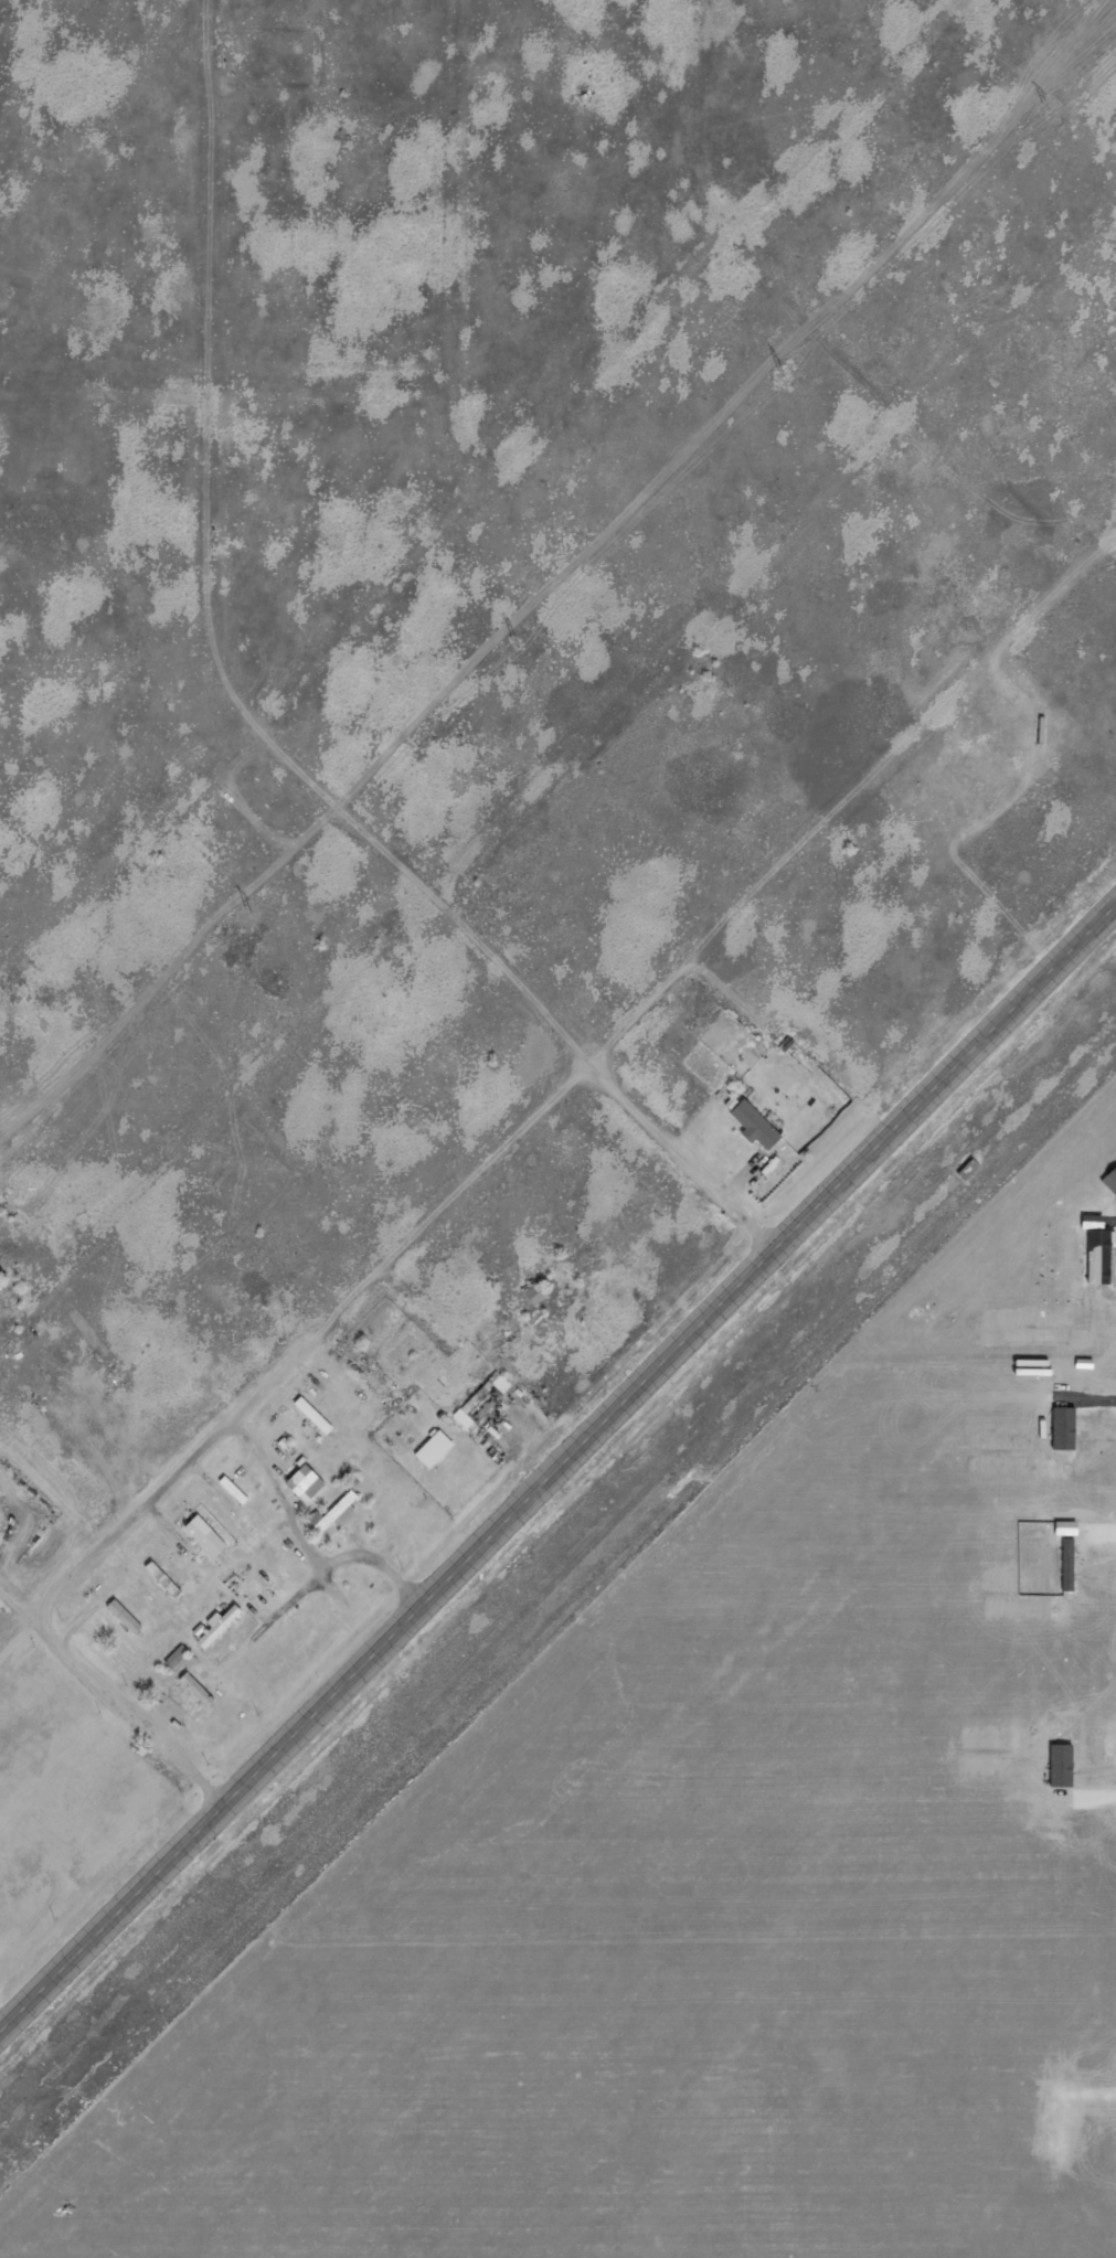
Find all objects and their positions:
road: (936, 14)
power tower: (1040, 105)
road: (450, 247)
road: (822, 313)
power tower: (777, 373)
road: (225, 385)
road: (482, 482)
power tower: (511, 643)
road: (244, 728)
road: (554, 763)
power tower: (245, 913)
road: (556, 1096)
building: (753, 1123)
building: (534, 1292)
building: (312, 1414)
building: (463, 1417)
building: (433, 1447)
road: (557, 1469)
building: (304, 1482)
building: (332, 1512)
building: (204, 1535)
building: (123, 1615)
building: (215, 1623)
building: (177, 1654)
building: (195, 1687)
road: (114, 1693)

